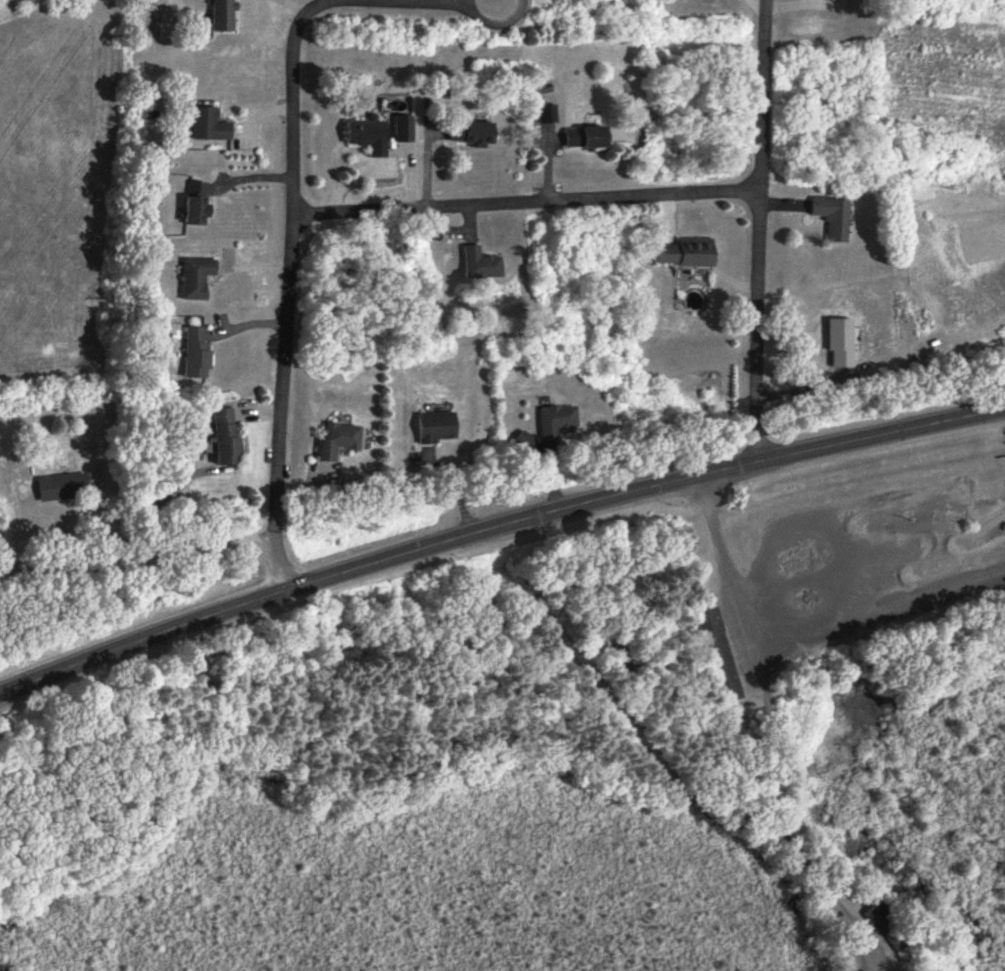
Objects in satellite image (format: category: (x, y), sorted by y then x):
building: (218, 15)
road: (498, 27)
building: (545, 113)
building: (201, 122)
building: (401, 129)
building: (467, 133)
building: (364, 136)
building: (581, 137)
road: (529, 202)
building: (192, 205)
building: (825, 217)
road: (762, 230)
road: (294, 253)
building: (684, 254)
building: (474, 263)
building: (194, 278)
building: (193, 352)
building: (551, 421)
building: (430, 427)
building: (224, 436)
building: (331, 440)
road: (456, 485)
building: (59, 486)
road: (496, 528)
road: (137, 555)
building: (710, 650)
road: (765, 728)

